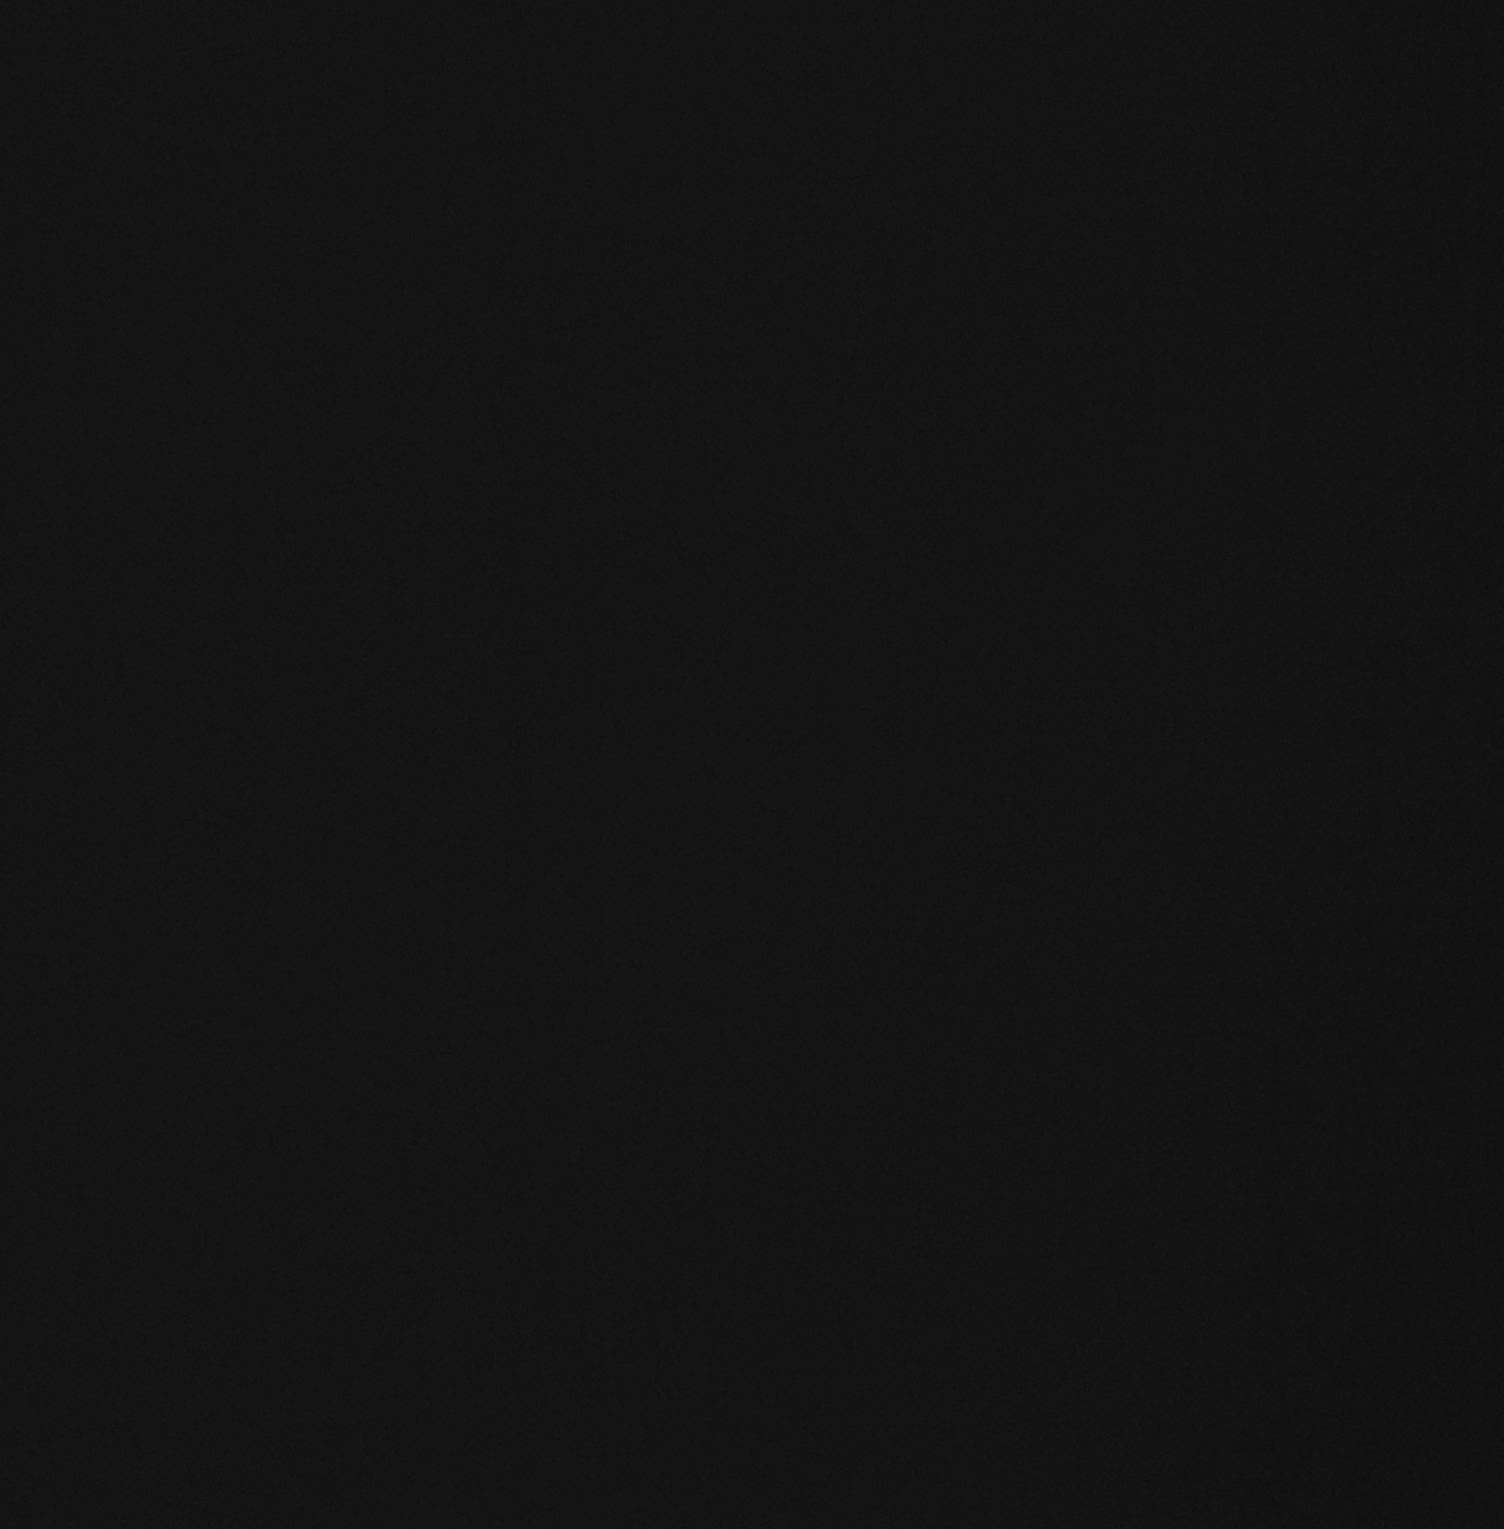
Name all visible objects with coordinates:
river: (1426, 1228)

